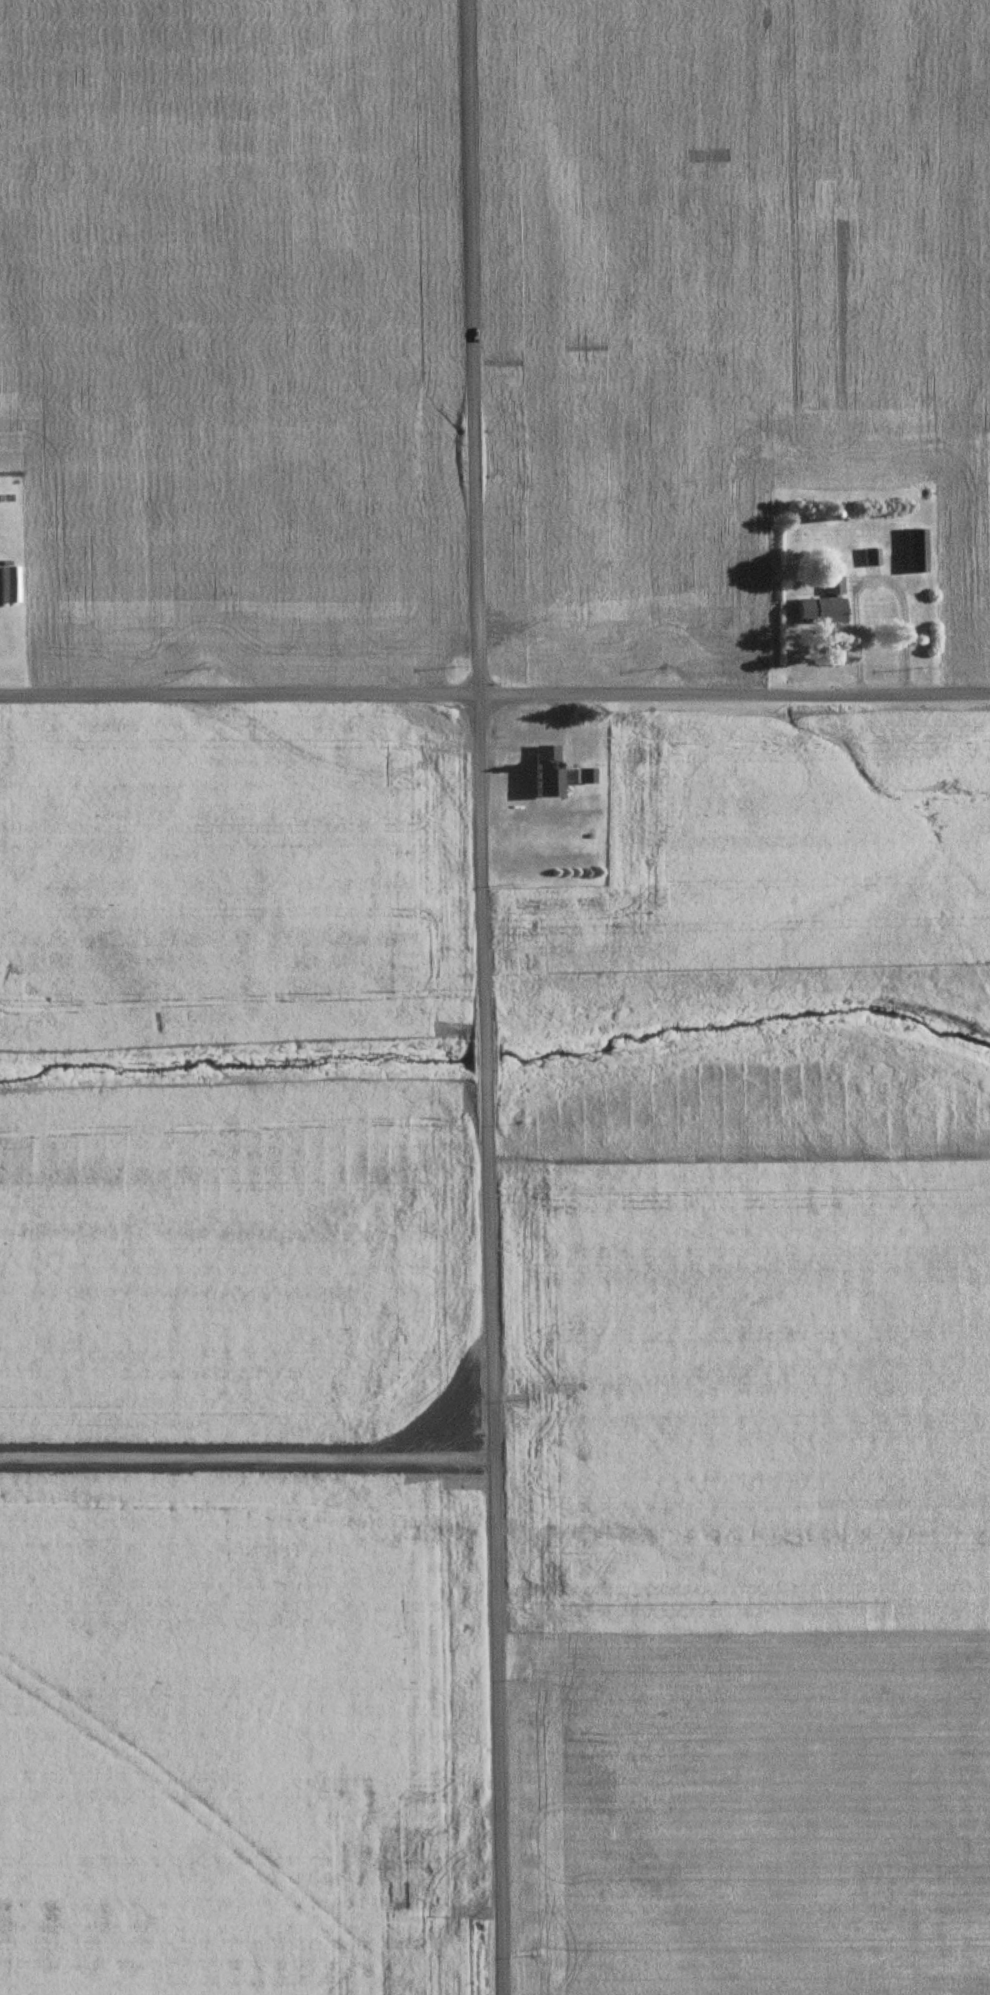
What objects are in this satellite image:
building: (915, 549)
building: (829, 582)
building: (7, 584)
building: (815, 609)
road: (495, 695)
building: (540, 770)
building: (583, 775)
road: (480, 997)

